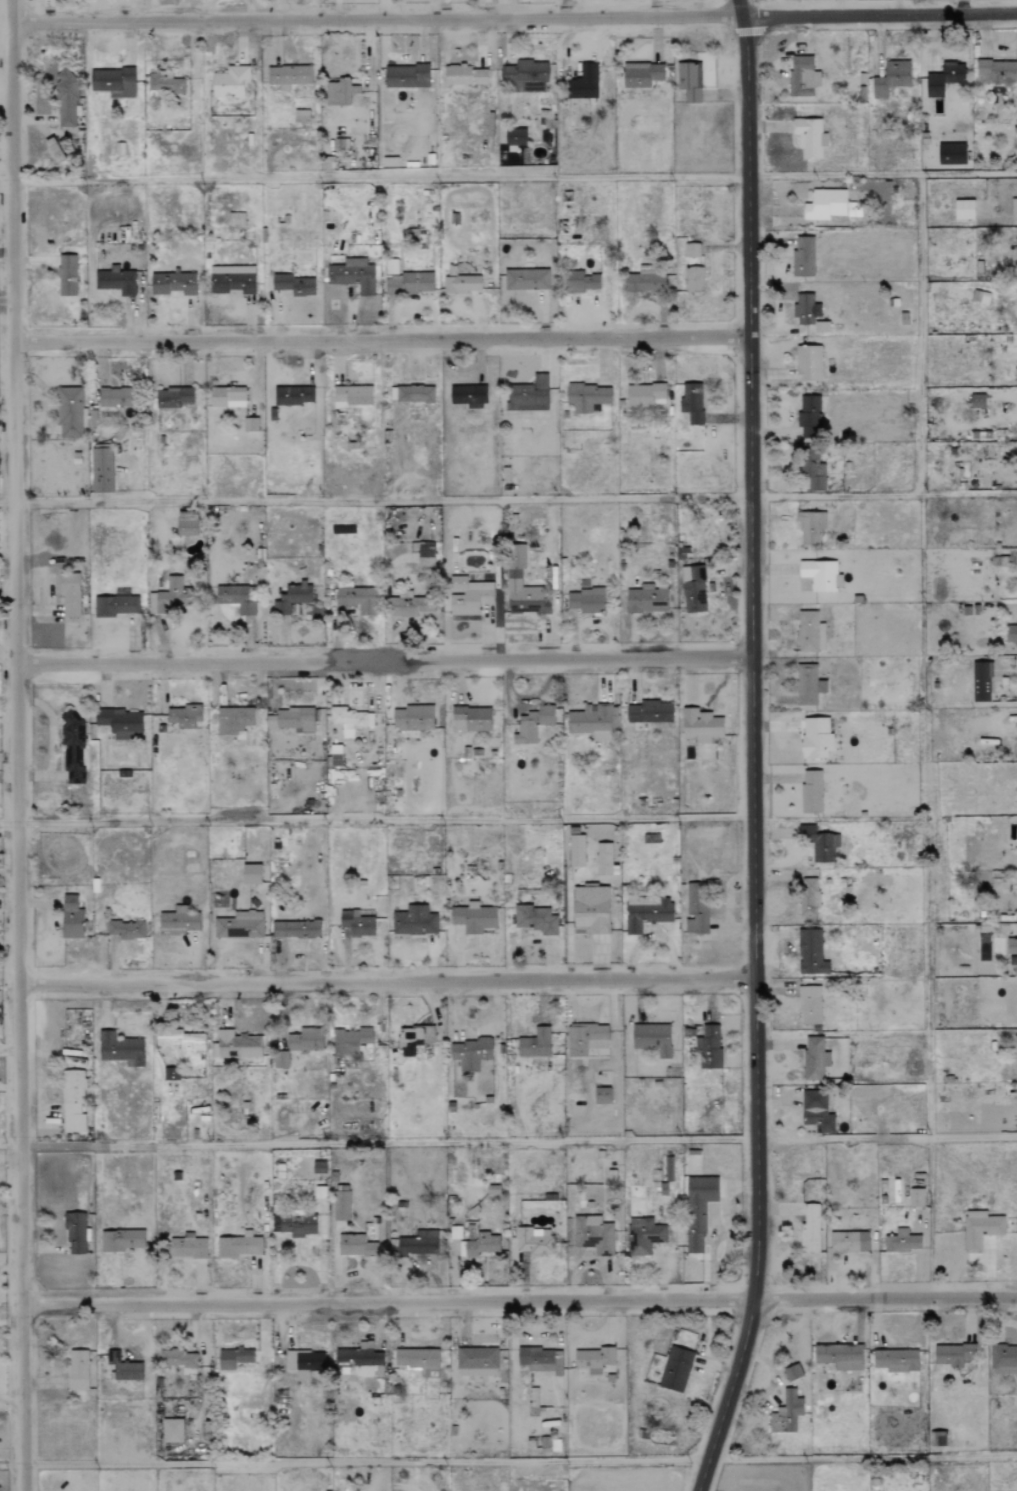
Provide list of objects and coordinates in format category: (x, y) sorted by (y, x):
road: (740, 8)
road: (879, 15)
road: (376, 17)
building: (997, 71)
building: (465, 75)
building: (641, 75)
building: (288, 76)
building: (526, 76)
building: (406, 77)
building: (802, 77)
building: (891, 78)
building: (944, 79)
building: (114, 81)
building: (689, 81)
building: (163, 83)
building: (231, 83)
building: (584, 83)
building: (339, 92)
building: (66, 99)
building: (301, 116)
building: (515, 137)
building: (809, 137)
building: (951, 154)
road: (380, 177)
building: (964, 209)
building: (1014, 209)
building: (692, 250)
building: (803, 257)
building: (66, 275)
building: (353, 275)
building: (233, 280)
building: (526, 280)
building: (694, 280)
building: (116, 281)
building: (406, 281)
building: (581, 282)
building: (172, 284)
building: (461, 284)
building: (645, 284)
building: (294, 285)
building: (981, 297)
building: (807, 312)
road: (381, 338)
building: (808, 363)
building: (414, 394)
building: (645, 395)
building: (292, 396)
building: (352, 396)
building: (468, 396)
building: (528, 396)
building: (227, 397)
building: (587, 397)
building: (114, 398)
building: (173, 398)
building: (977, 401)
building: (692, 403)
building: (70, 412)
building: (809, 417)
building: (250, 425)
building: (101, 471)
building: (815, 477)
building: (810, 527)
building: (186, 528)
building: (425, 557)
building: (820, 575)
building: (513, 579)
building: (693, 589)
building: (68, 594)
building: (170, 597)
building: (469, 597)
building: (293, 598)
building: (235, 599)
building: (356, 599)
building: (646, 600)
building: (586, 601)
building: (116, 606)
building: (408, 606)
building: (810, 632)
building: (1011, 636)
road: (382, 658)
building: (981, 682)
building: (806, 685)
building: (649, 713)
building: (184, 716)
building: (296, 719)
building: (413, 719)
building: (470, 719)
building: (347, 720)
building: (233, 722)
building: (594, 722)
building: (120, 724)
building: (532, 725)
building: (700, 726)
building: (816, 738)
road: (15, 745)
building: (72, 746)
road: (752, 758)
building: (811, 792)
building: (819, 844)
building: (576, 851)
building: (604, 859)
building: (251, 874)
building: (808, 898)
building: (696, 908)
building: (590, 909)
building: (646, 914)
building: (71, 918)
building: (473, 918)
building: (535, 920)
building: (178, 921)
building: (414, 922)
building: (356, 924)
building: (239, 926)
building: (126, 930)
building: (295, 930)
building: (1011, 947)
building: (810, 953)
road: (387, 980)
building: (809, 1005)
building: (652, 1038)
building: (413, 1039)
building: (585, 1039)
building: (180, 1040)
building: (350, 1040)
building: (534, 1043)
building: (295, 1044)
building: (236, 1045)
building: (709, 1048)
building: (120, 1049)
building: (469, 1053)
building: (814, 1058)
building: (171, 1074)
building: (602, 1095)
building: (72, 1101)
building: (816, 1112)
road: (885, 1137)
building: (318, 1166)
building: (668, 1169)
building: (892, 1191)
building: (916, 1197)
building: (341, 1202)
building: (698, 1210)
building: (297, 1224)
building: (810, 1228)
building: (980, 1229)
building: (76, 1234)
building: (593, 1235)
building: (644, 1236)
building: (121, 1240)
building: (533, 1241)
building: (848, 1241)
building: (902, 1241)
building: (418, 1243)
building: (481, 1244)
building: (355, 1245)
building: (238, 1246)
building: (187, 1248)
road: (520, 1296)
building: (954, 1355)
building: (839, 1356)
building: (176, 1359)
building: (235, 1359)
building: (541, 1360)
building: (593, 1360)
building: (895, 1360)
building: (1003, 1360)
building: (361, 1361)
building: (419, 1361)
building: (476, 1362)
building: (304, 1363)
building: (124, 1368)
building: (676, 1369)
building: (77, 1370)
building: (792, 1372)
building: (533, 1397)
building: (786, 1413)
building: (171, 1431)
road: (366, 1461)

